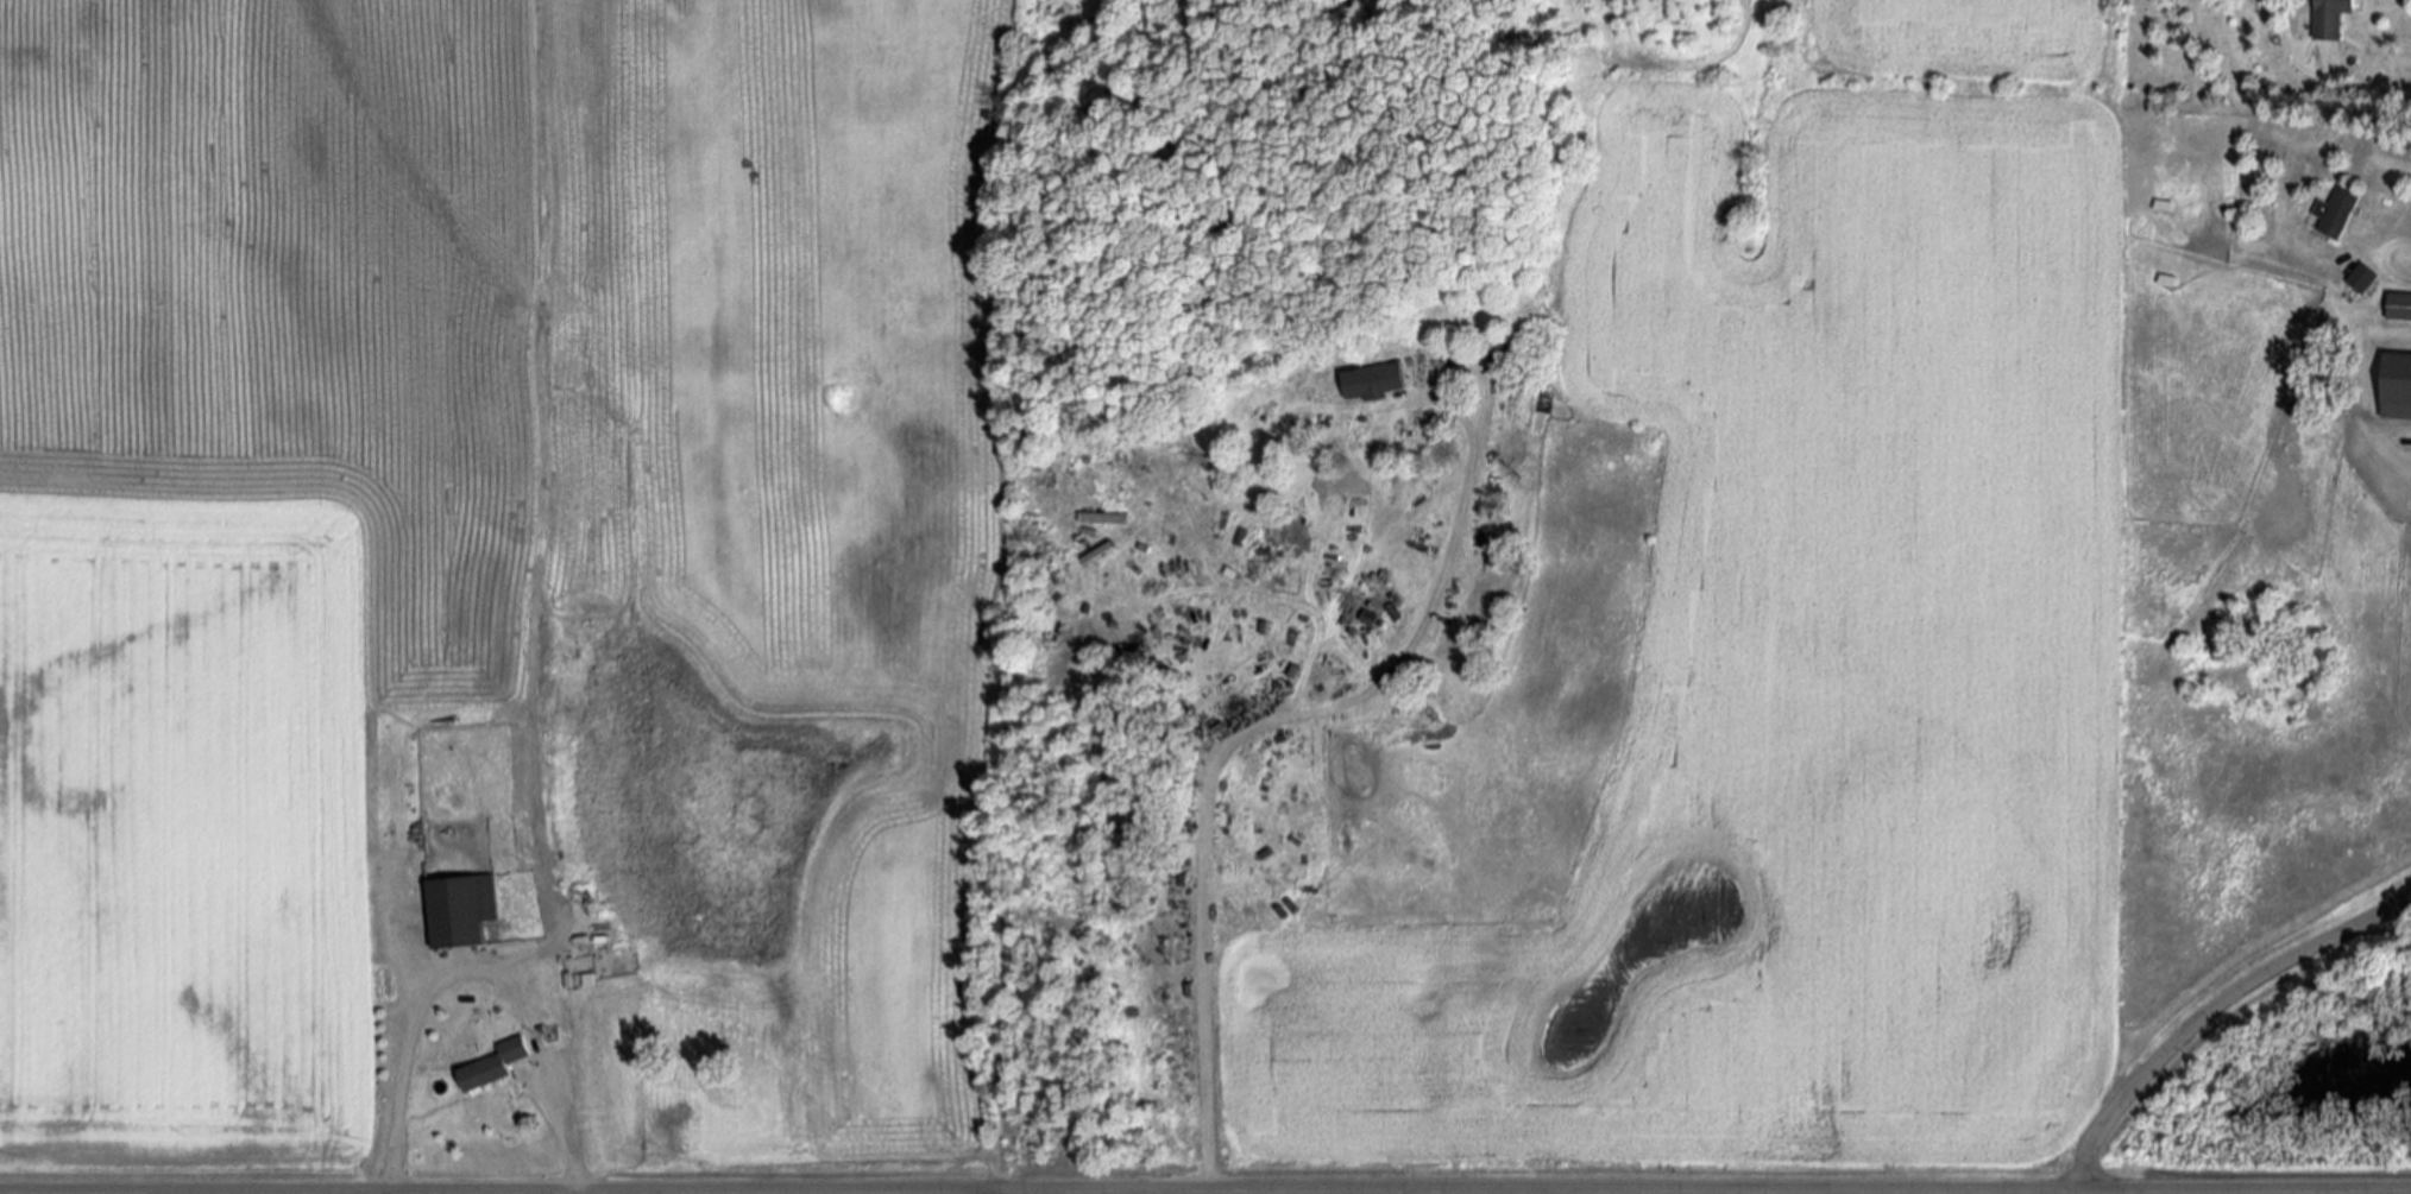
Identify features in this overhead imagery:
building: (2331, 18)
building: (2337, 211)
road: (2384, 260)
building: (2362, 278)
building: (1374, 381)
building: (2398, 387)
road: (1307, 714)
building: (462, 910)
road: (476, 968)
building: (590, 980)
road: (2211, 1010)
building: (497, 1065)
road: (1637, 1192)
road: (1005, 1193)
road: (1496, 1193)
road: (2016, 1193)

